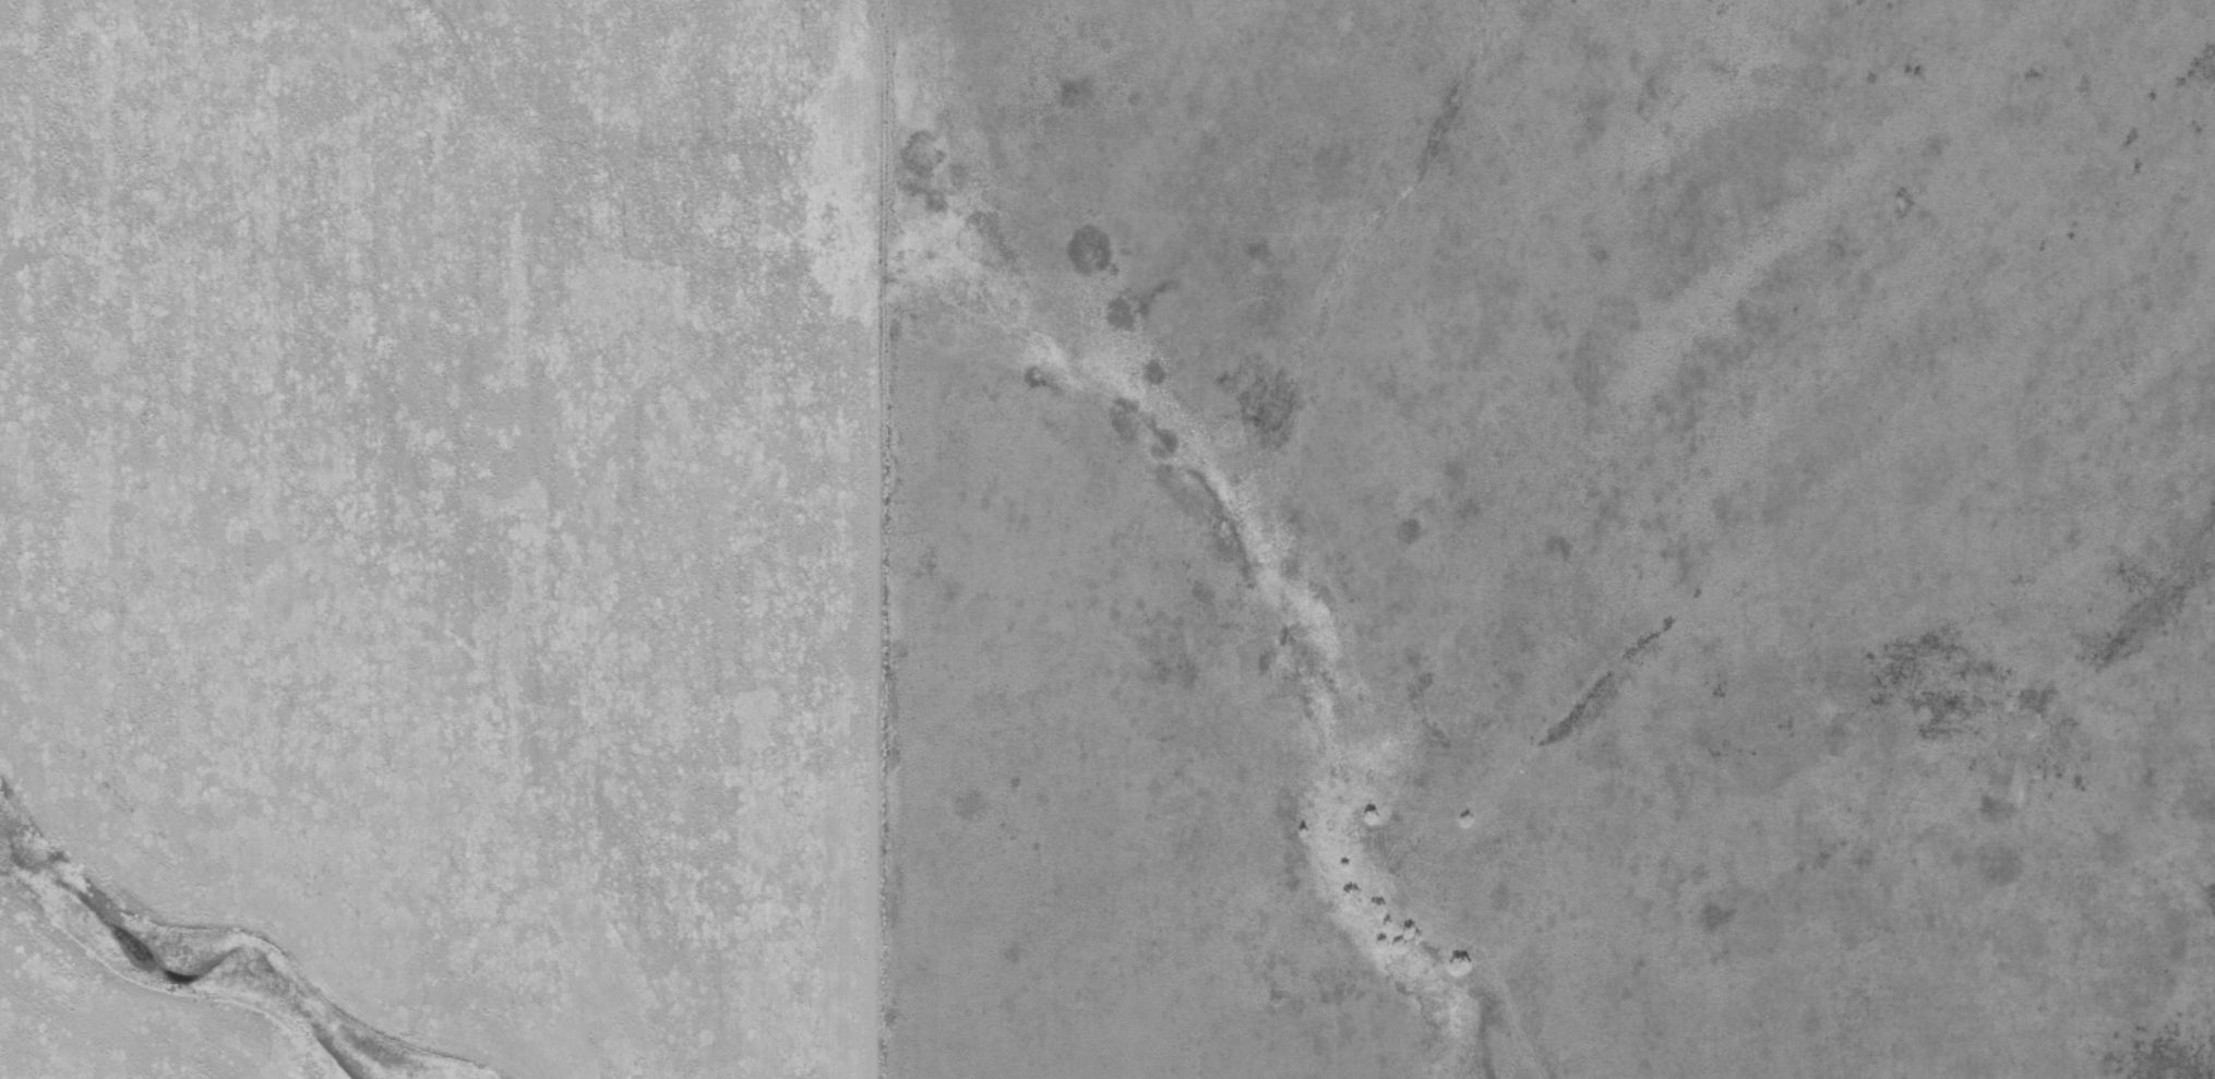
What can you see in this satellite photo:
road: (2039, 739)

